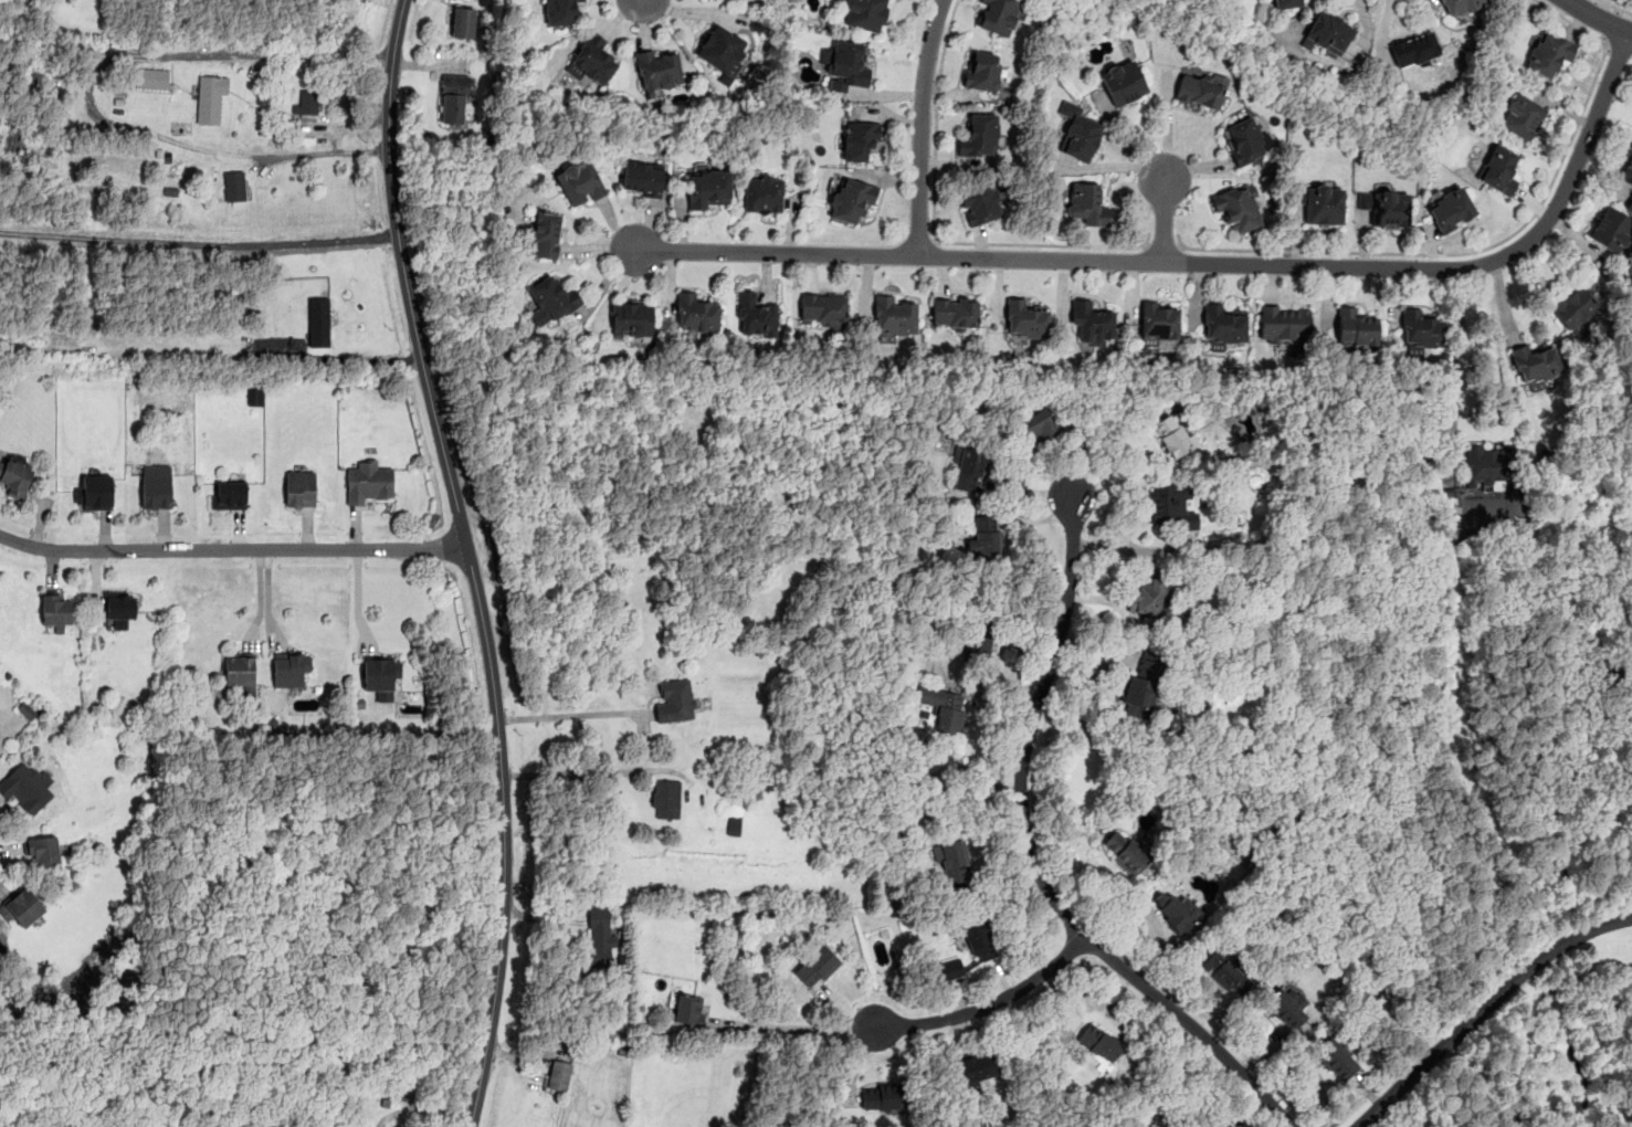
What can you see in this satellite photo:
building: (1286, 3)
building: (1460, 7)
road: (1617, 7)
building: (561, 12)
building: (864, 14)
building: (998, 15)
road: (1598, 19)
building: (463, 21)
road: (1570, 22)
road: (1610, 23)
building: (1328, 34)
road: (1619, 48)
building: (723, 50)
building: (1414, 50)
road: (124, 55)
building: (1549, 55)
building: (593, 61)
building: (846, 65)
building: (657, 70)
building: (981, 70)
building: (151, 77)
building: (1123, 81)
building: (1199, 91)
building: (454, 96)
building: (210, 97)
building: (264, 98)
building: (306, 102)
building: (1522, 116)
road: (920, 126)
building: (978, 136)
building: (1081, 139)
building: (859, 140)
building: (1243, 141)
road: (326, 154)
building: (1498, 169)
building: (1628, 170)
building: (642, 179)
building: (579, 182)
building: (234, 186)
building: (708, 190)
building: (762, 194)
building: (850, 200)
building: (1320, 203)
building: (980, 204)
building: (1087, 204)
building: (1384, 207)
building: (1450, 209)
building: (1239, 210)
road: (1165, 217)
building: (1611, 228)
road: (931, 230)
building: (545, 234)
road: (198, 243)
road: (1164, 244)
road: (1449, 254)
road: (1201, 262)
building: (550, 301)
building: (1575, 307)
building: (823, 309)
building: (695, 314)
building: (955, 314)
building: (756, 315)
building: (894, 316)
building: (631, 318)
building: (1025, 320)
building: (319, 322)
building: (1092, 323)
building: (1284, 323)
building: (1158, 324)
building: (1222, 327)
building: (1354, 327)
building: (1420, 330)
building: (1580, 330)
road: (1455, 355)
building: (1535, 362)
building: (1036, 428)
building: (1172, 435)
road: (1110, 457)
building: (1487, 464)
building: (969, 470)
building: (14, 476)
building: (367, 481)
building: (155, 486)
building: (299, 488)
building: (94, 492)
building: (228, 494)
building: (1172, 506)
building: (986, 536)
road: (232, 547)
road: (471, 560)
building: (1146, 594)
road: (259, 600)
building: (119, 607)
building: (56, 611)
building: (981, 635)
building: (289, 667)
building: (240, 672)
building: (380, 675)
building: (1143, 682)
building: (675, 699)
building: (940, 705)
building: (27, 710)
road: (568, 715)
road: (590, 770)
building: (27, 786)
building: (665, 799)
building: (734, 823)
building: (43, 850)
building: (1126, 851)
building: (954, 860)
road: (1033, 861)
building: (22, 905)
building: (1176, 910)
building: (599, 936)
building: (979, 939)
building: (815, 966)
building: (947, 968)
building: (1224, 968)
road: (987, 1005)
road: (1485, 1007)
building: (1291, 1008)
building: (688, 1009)
road: (792, 1024)
building: (1098, 1043)
building: (1336, 1057)
building: (977, 1067)
building: (558, 1075)
building: (883, 1096)
building: (1229, 1123)

